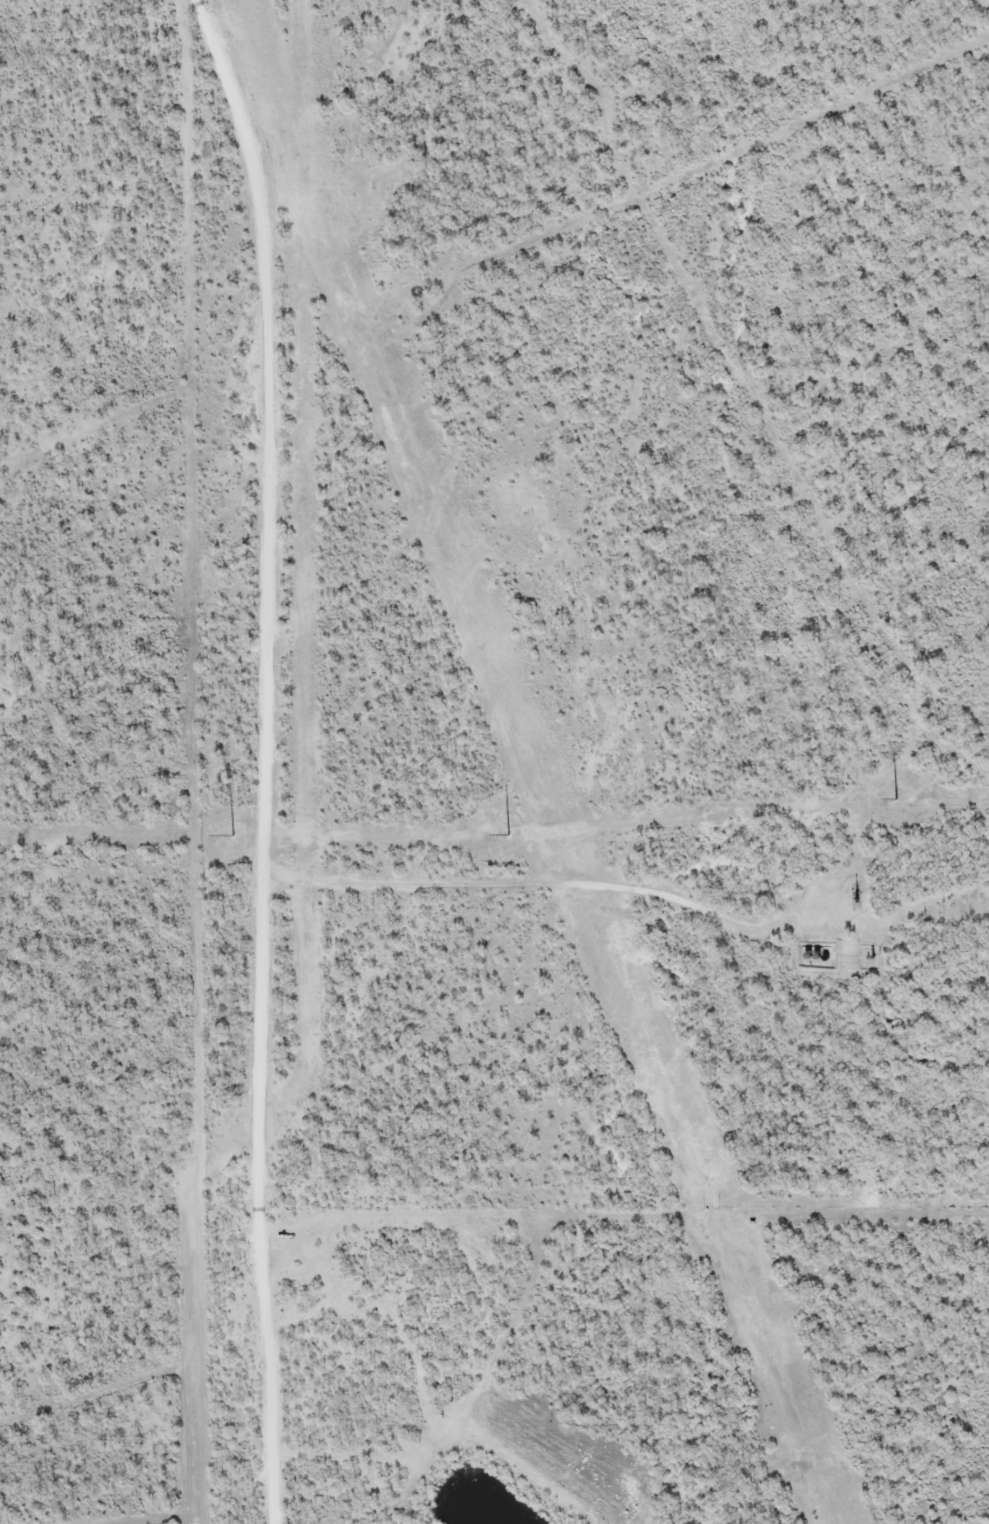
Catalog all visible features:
road: (261, 601)
power tower: (896, 800)
power tower: (234, 833)
power tower: (507, 834)
road: (624, 1221)
road: (266, 1368)

